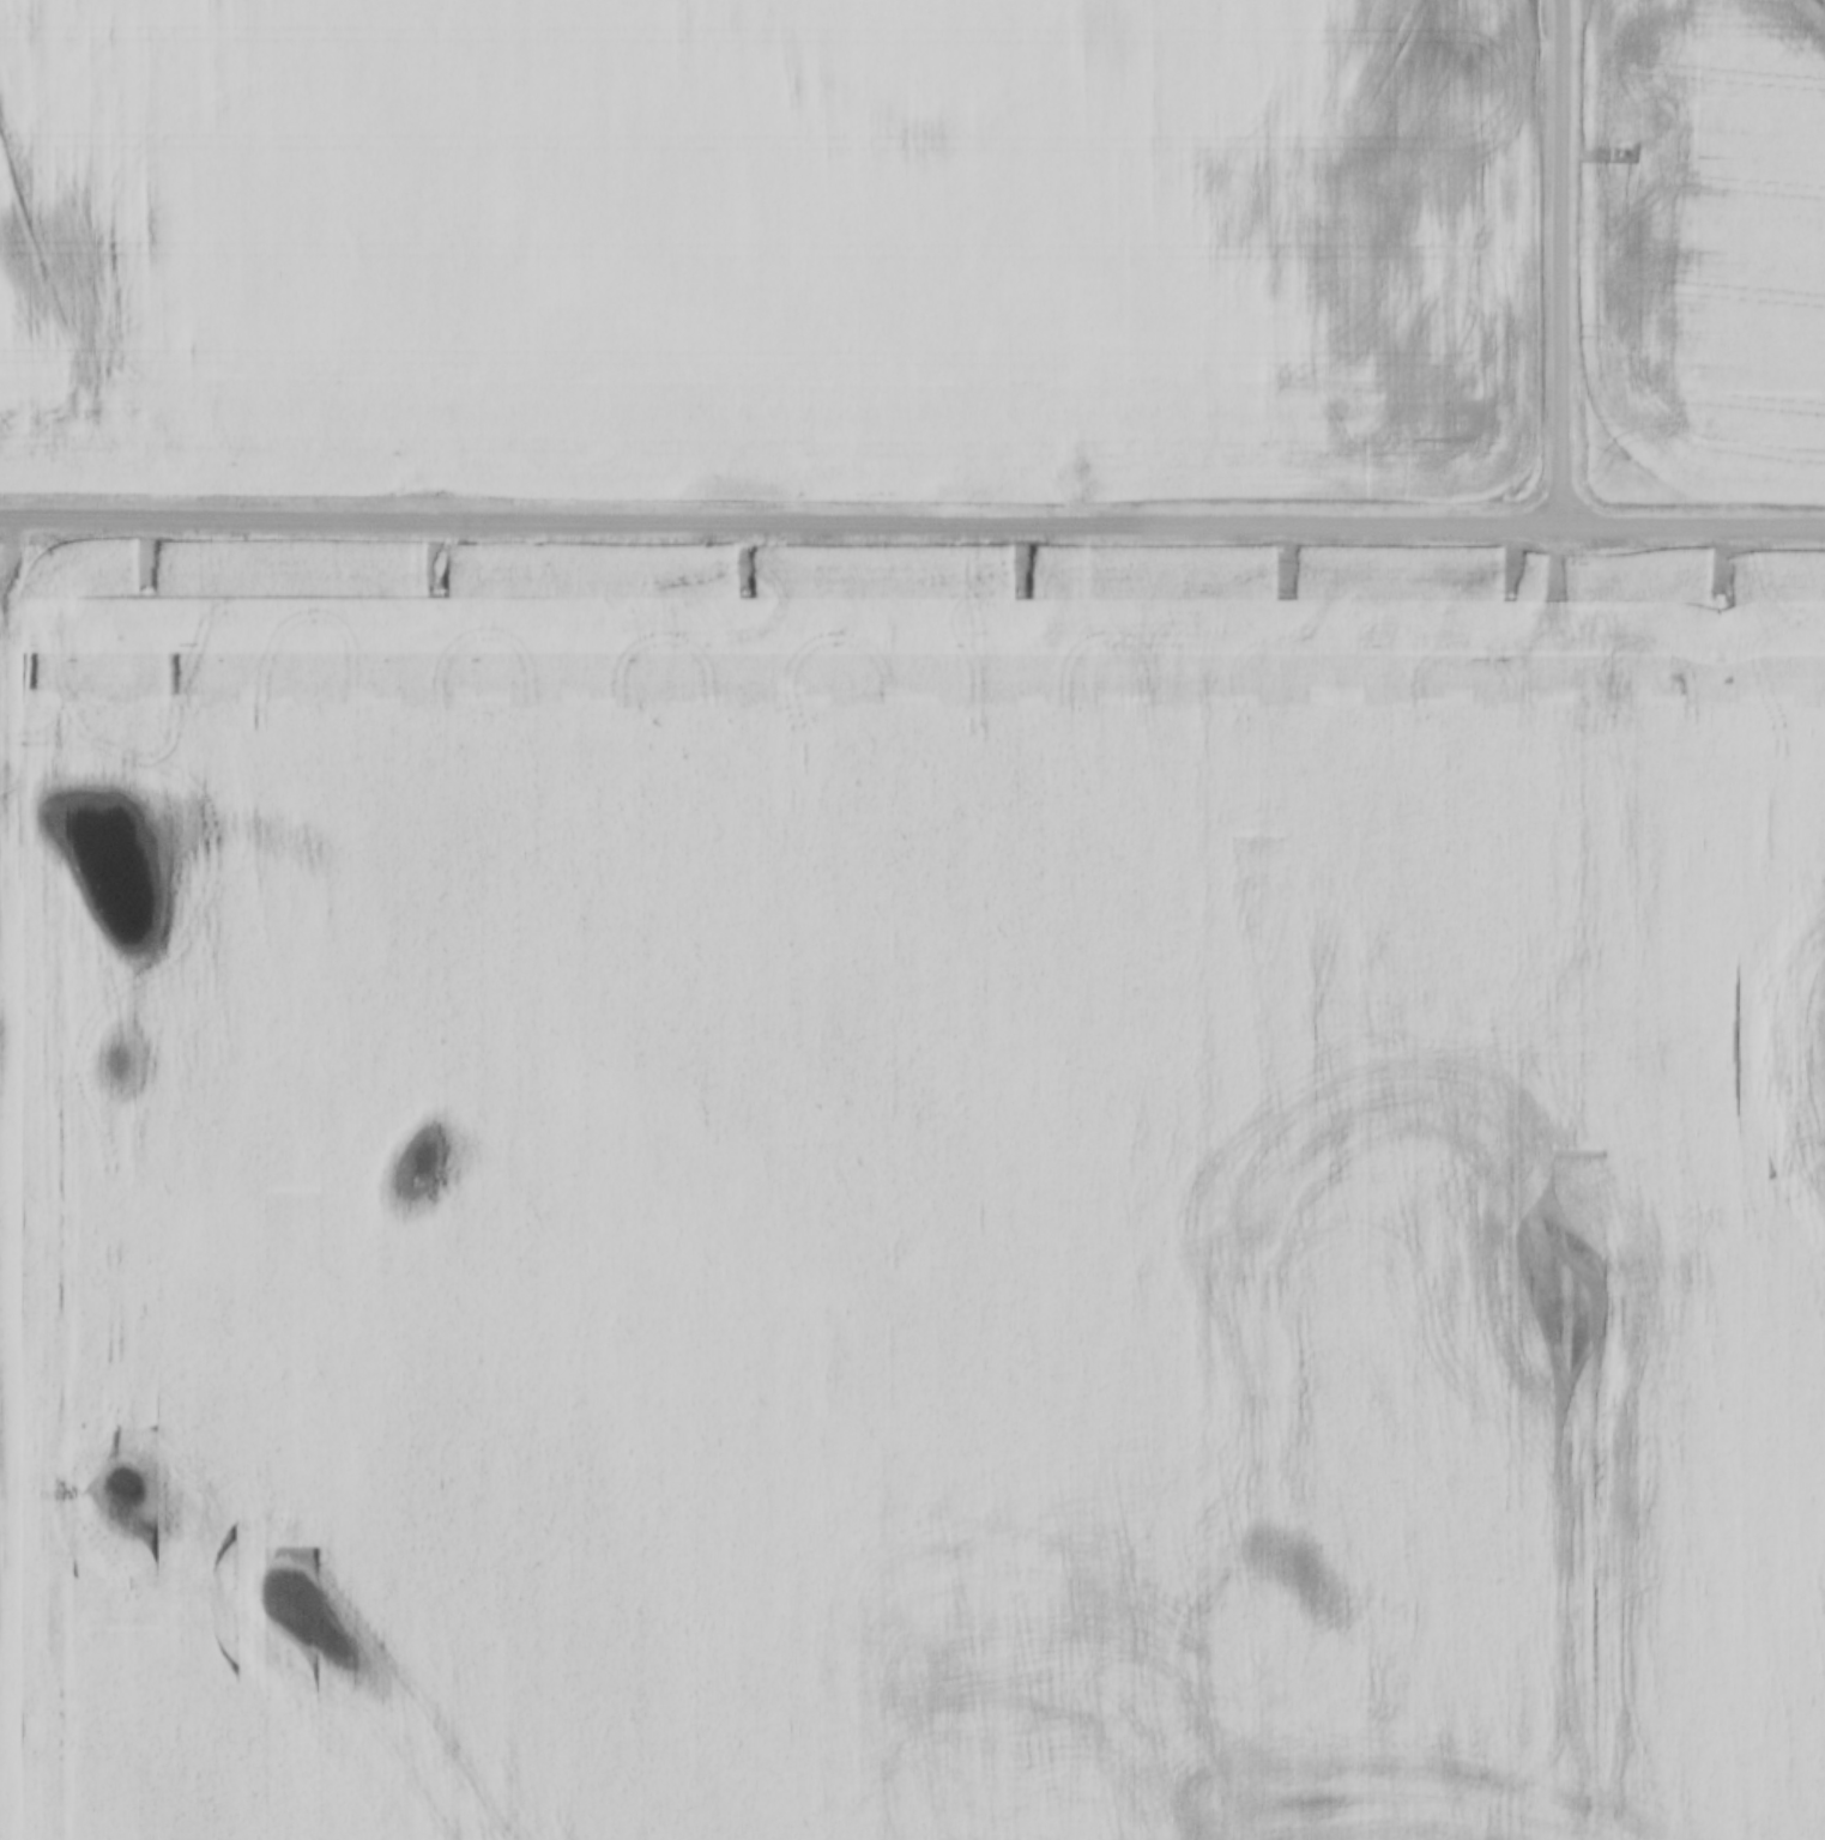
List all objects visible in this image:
road: (1563, 262)
road: (912, 521)

